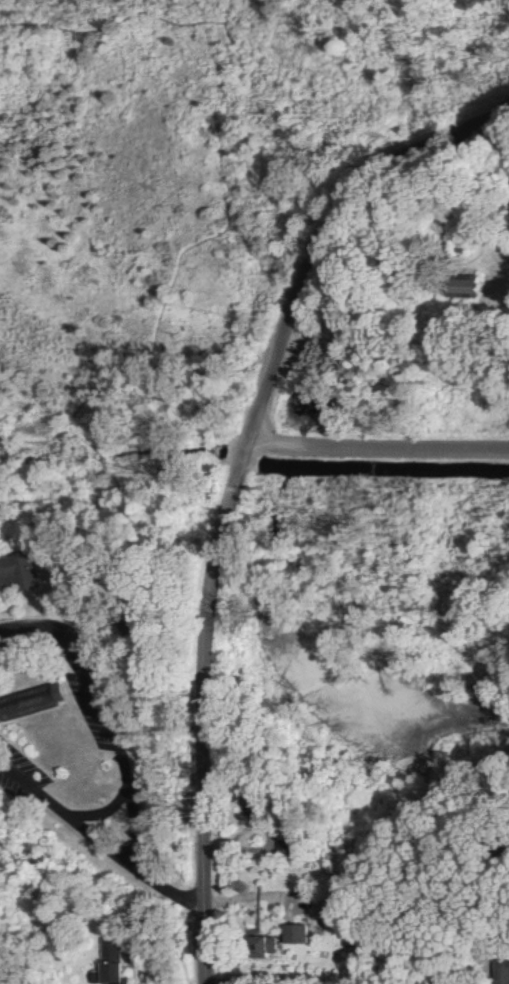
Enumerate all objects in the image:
road: (107, 18)
road: (178, 110)
road: (334, 230)
road: (361, 244)
building: (474, 287)
road: (151, 346)
road: (378, 446)
road: (63, 475)
building: (14, 563)
road: (109, 566)
parking lot: (62, 666)
building: (28, 692)
road: (107, 706)
road: (197, 710)
parking lot: (1, 737)
road: (99, 804)
road: (67, 811)
road: (163, 883)
road: (254, 896)
road: (492, 901)
road: (502, 922)
building: (299, 934)
building: (270, 945)
building: (503, 972)
building: (112, 974)
road: (8, 979)
road: (369, 982)

